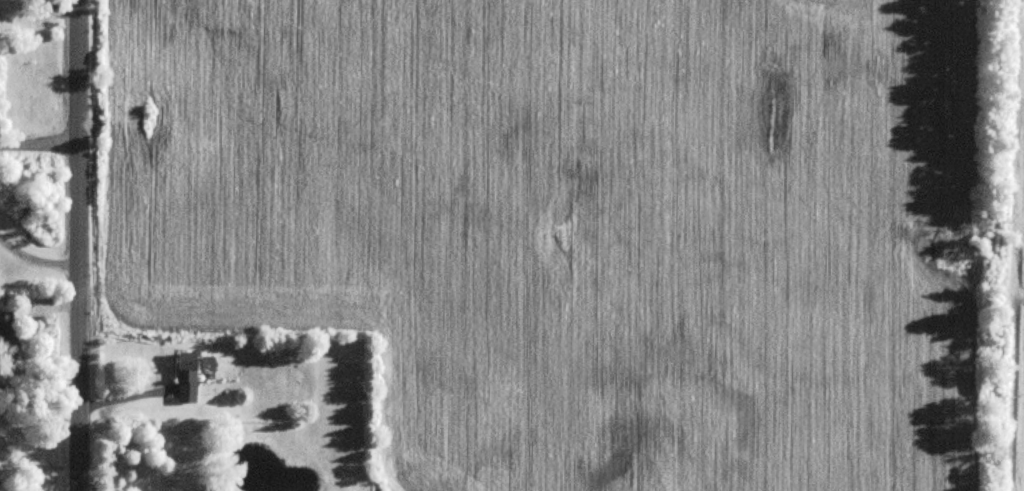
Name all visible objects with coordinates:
road: (57, 5)
road: (38, 143)
road: (77, 245)
crop: (1014, 248)
road: (36, 264)
building: (7, 336)
building: (188, 378)

